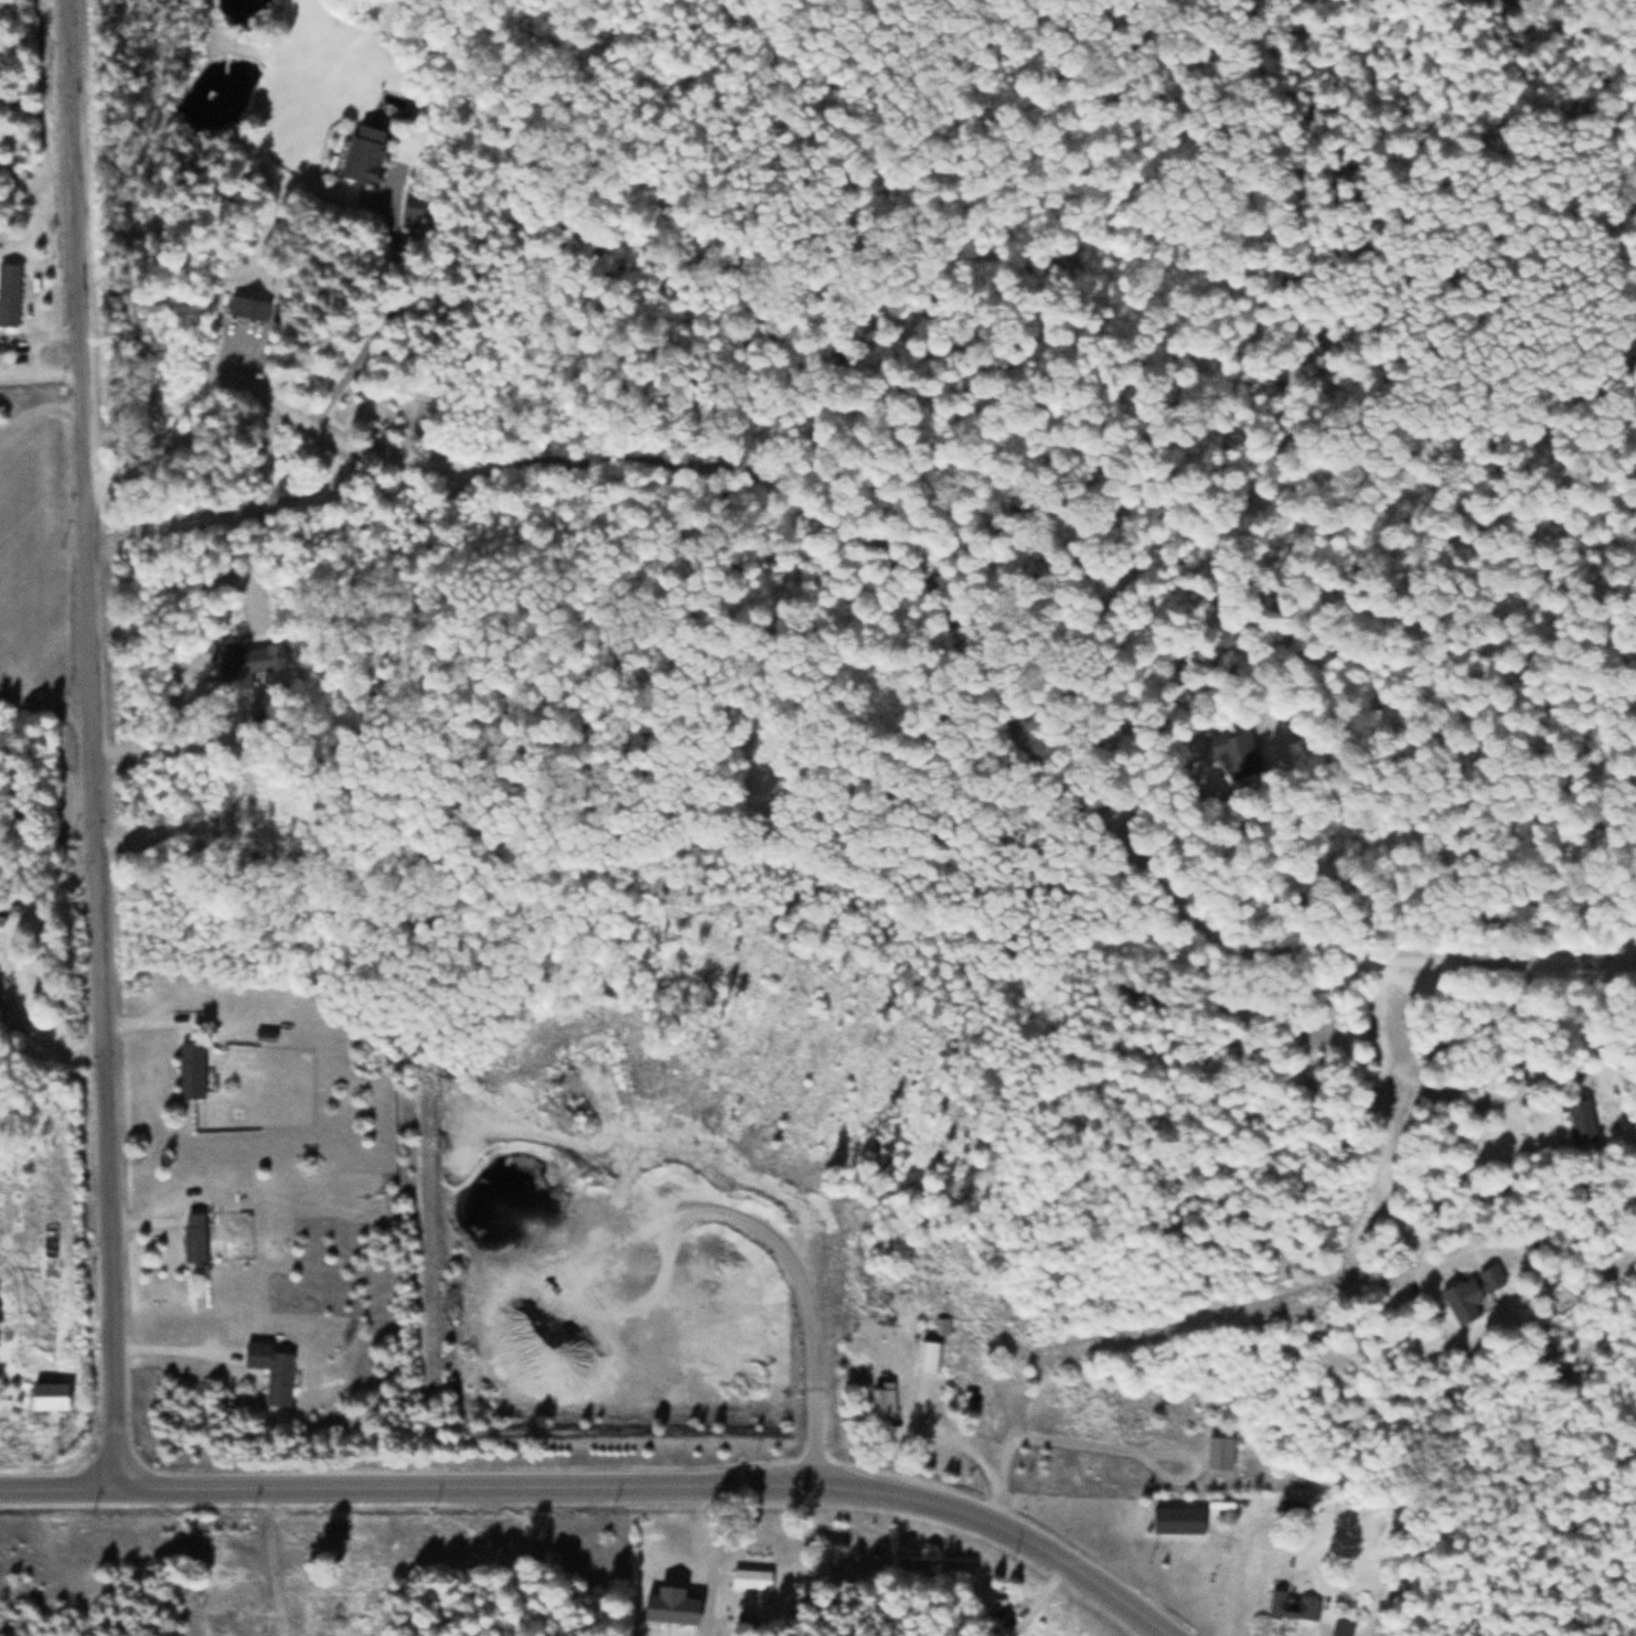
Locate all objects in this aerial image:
building: (361, 153)
building: (416, 208)
building: (9, 292)
building: (244, 307)
road: (44, 372)
road: (910, 570)
building: (244, 662)
road: (98, 745)
building: (1230, 752)
building: (191, 1069)
building: (1579, 1120)
building: (193, 1236)
quarry: (616, 1241)
building: (1468, 1292)
building: (942, 1325)
building: (930, 1355)
building: (271, 1368)
building: (44, 1394)
building: (881, 1397)
building: (1219, 1451)
road: (606, 1489)
building: (1292, 1508)
building: (1177, 1518)
building: (751, 1579)
building: (1291, 1605)
building: (1341, 1627)

